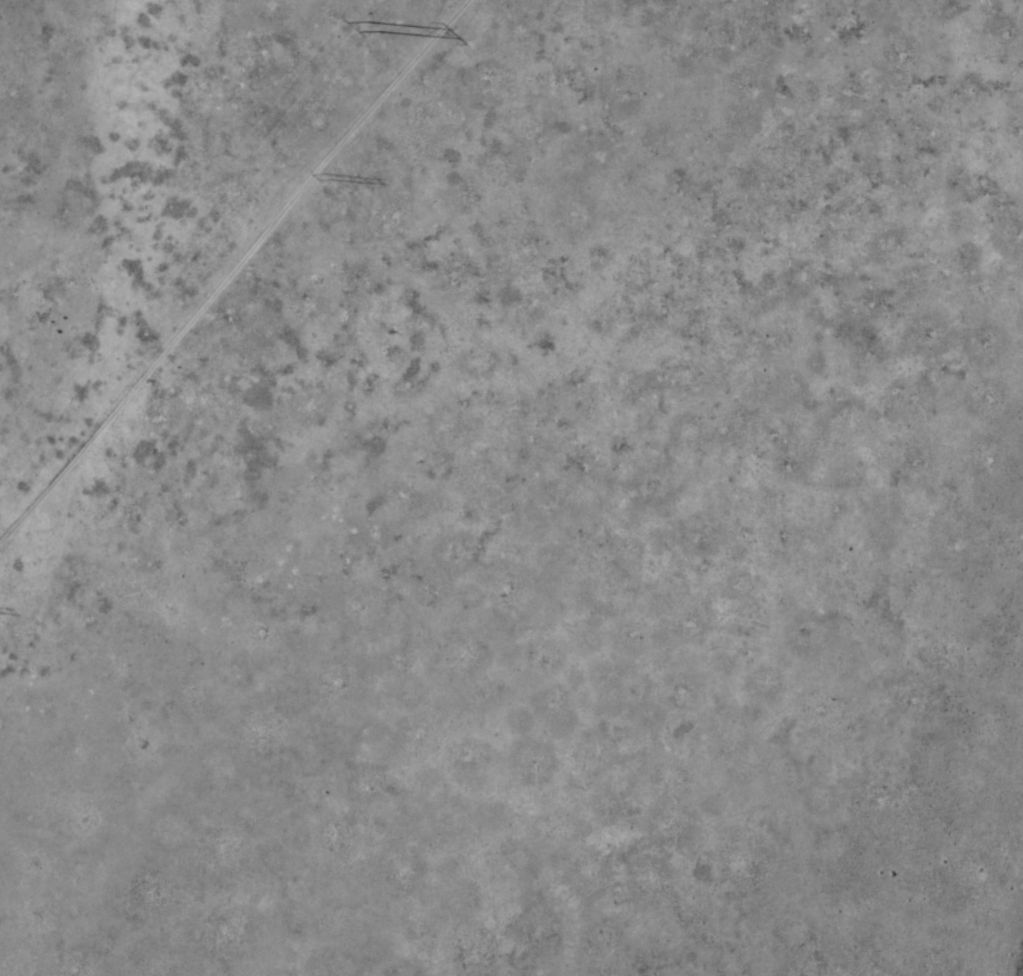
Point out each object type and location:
power tower: (372, 30)
power tower: (322, 186)
road: (231, 269)

